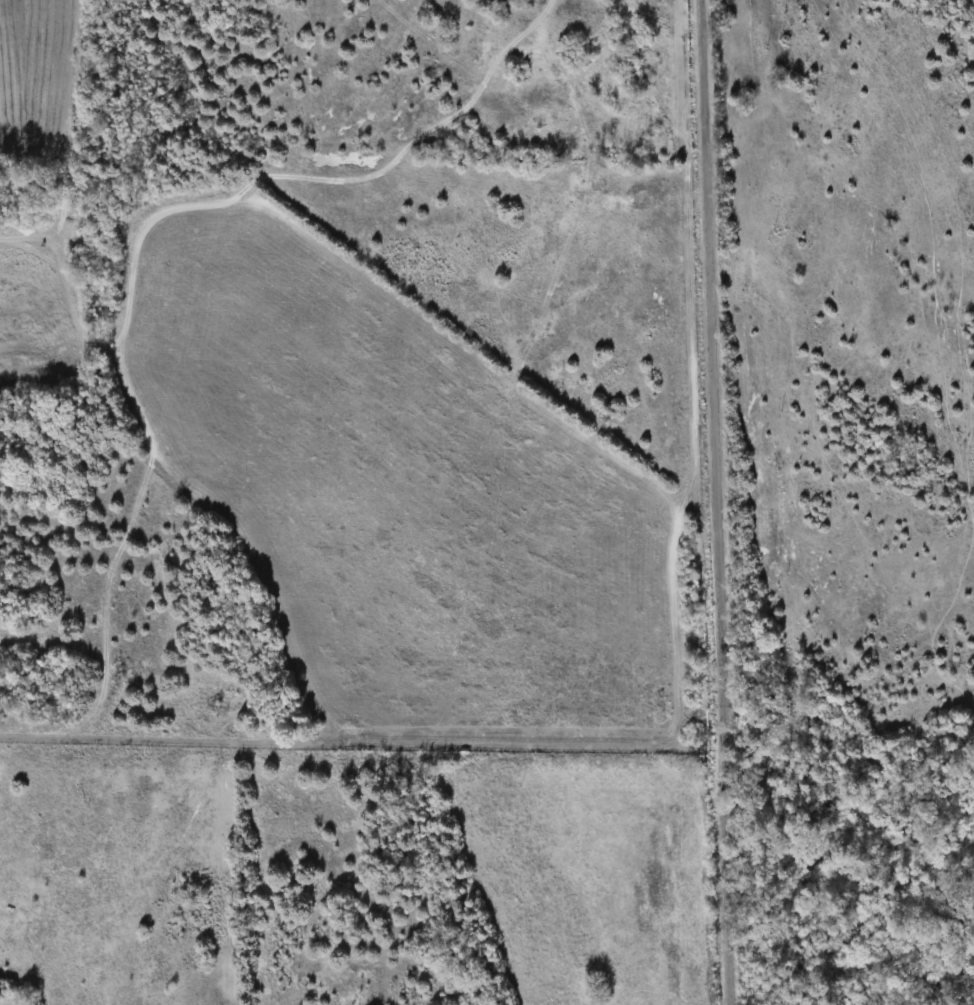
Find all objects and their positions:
road: (718, 502)

